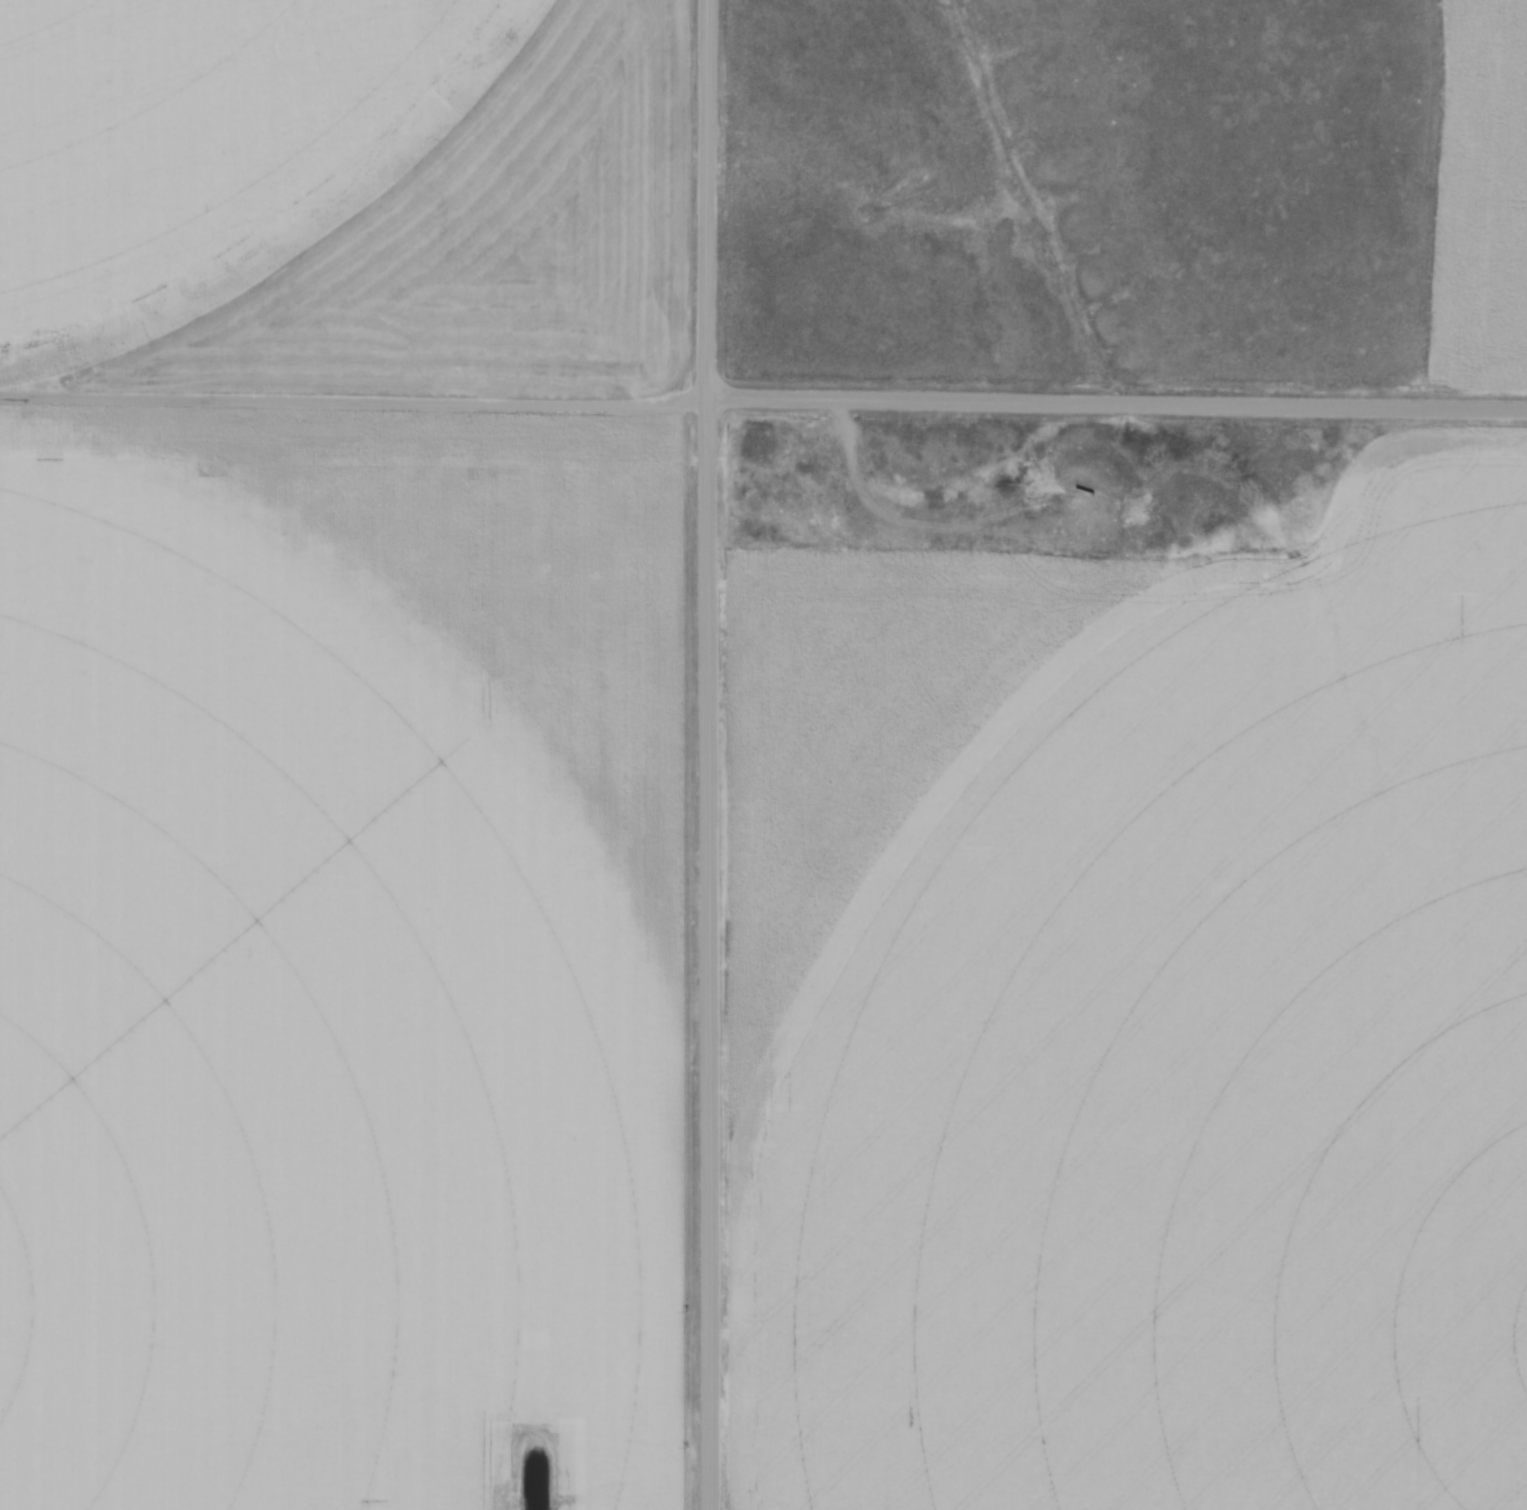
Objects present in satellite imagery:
crop: (1483, 185)
road: (707, 201)
road: (1116, 405)
building: (1333, 492)
crop: (346, 754)
road: (708, 956)
crop: (1136, 1020)

